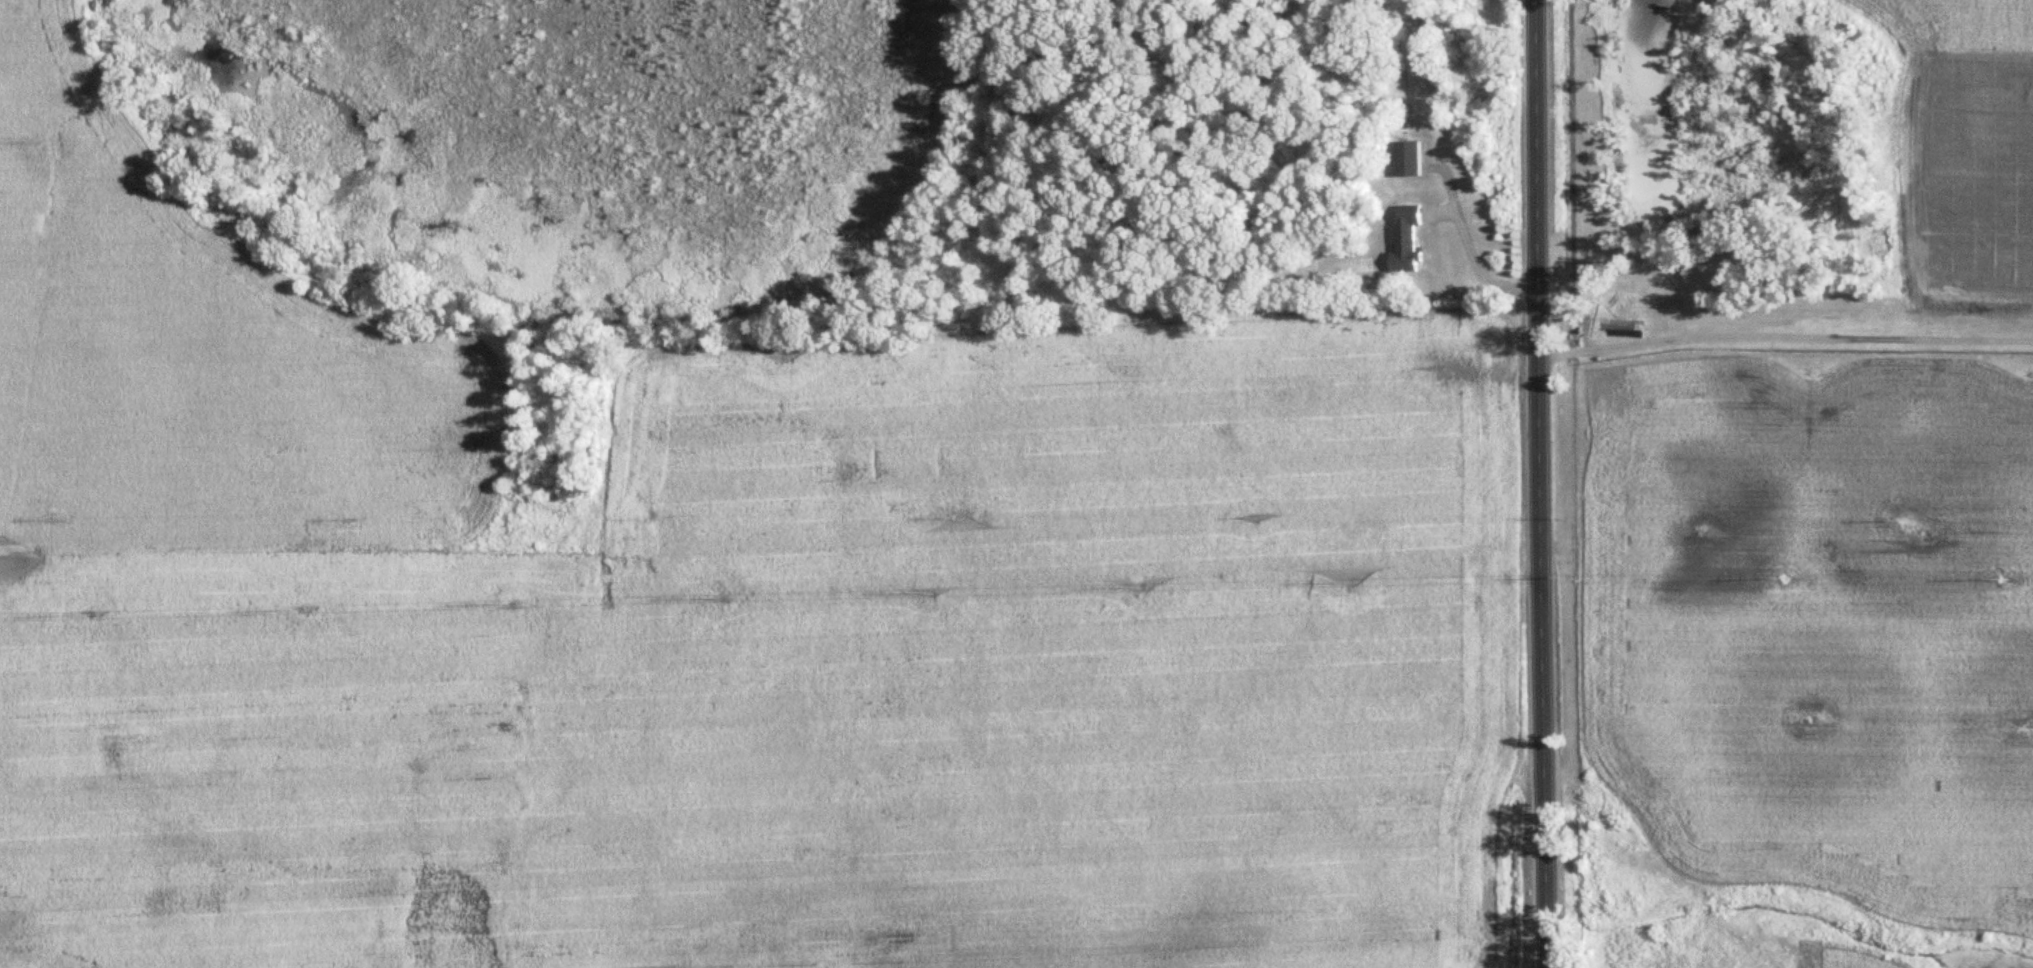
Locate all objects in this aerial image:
building: (1409, 159)
building: (1408, 240)
road: (1470, 244)
road: (1785, 335)
road: (1540, 484)

